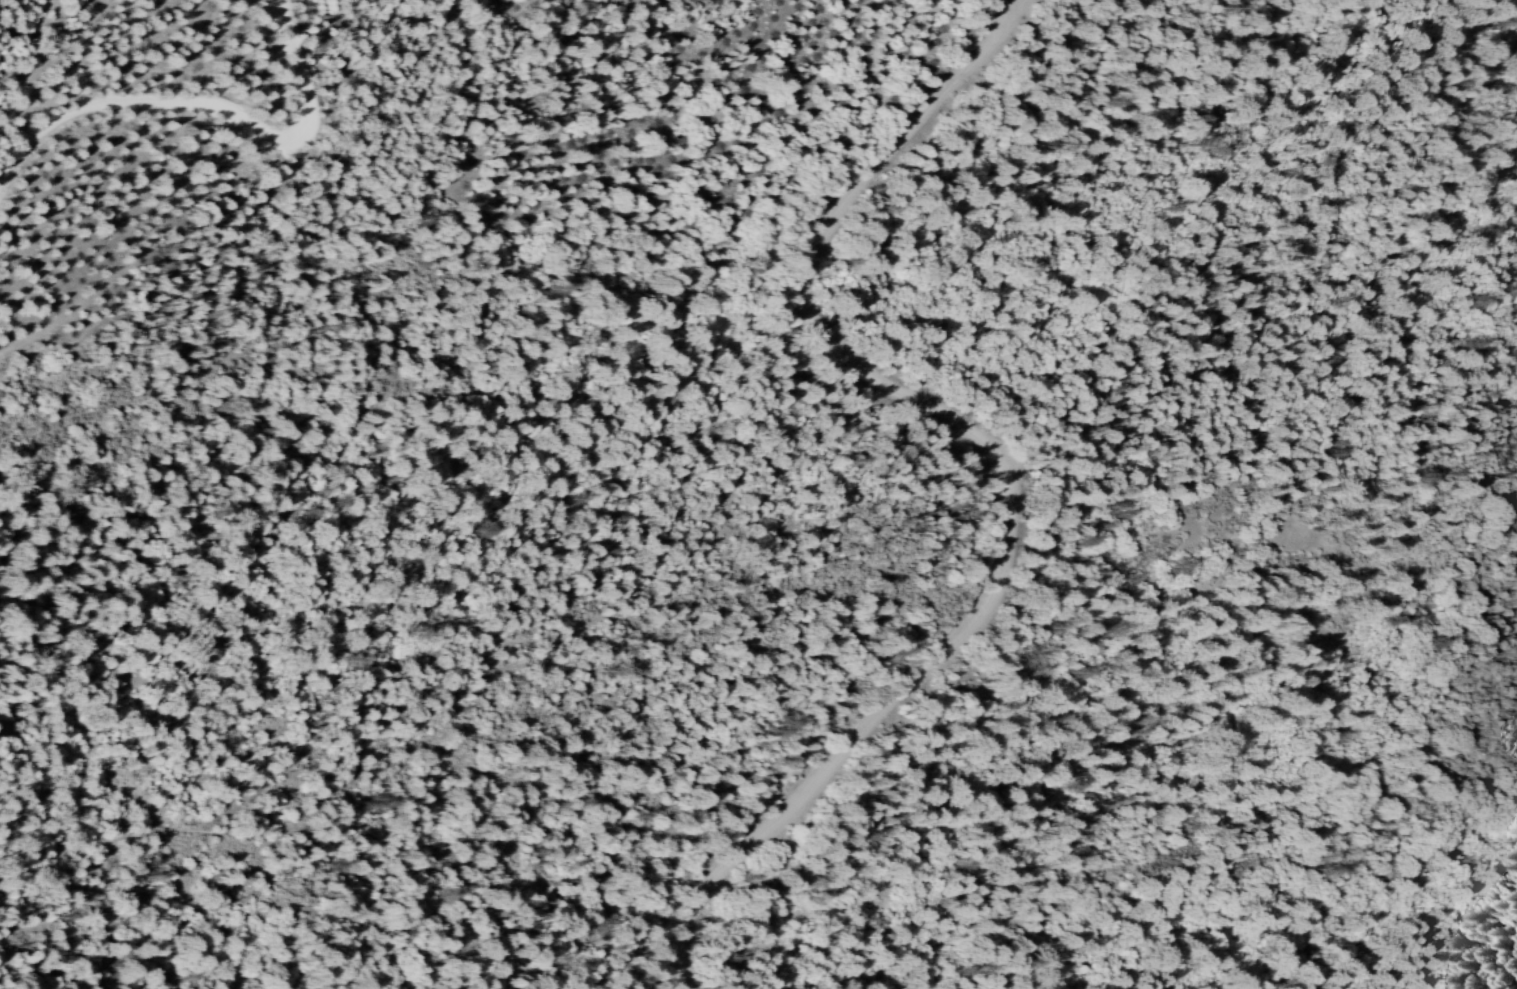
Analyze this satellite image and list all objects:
road: (205, 111)
road: (996, 477)

